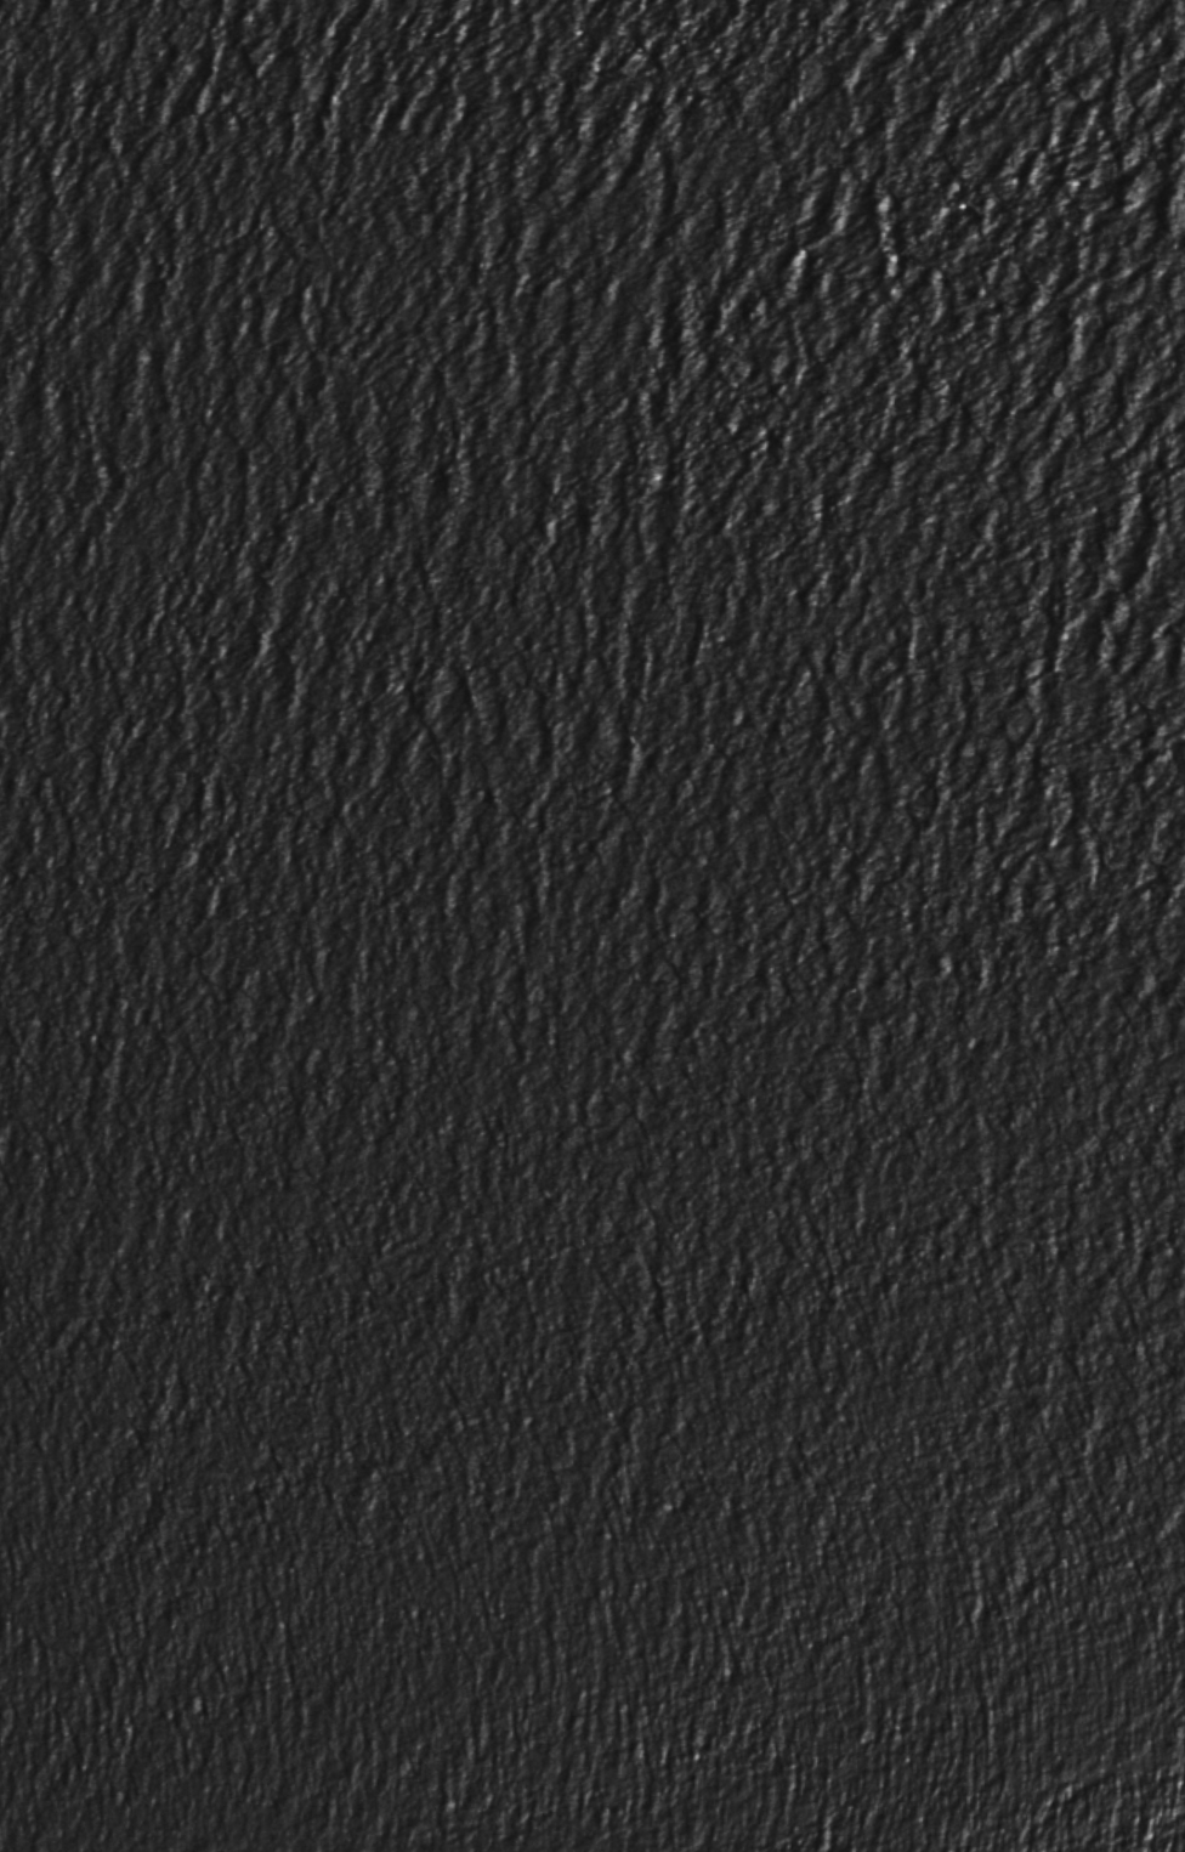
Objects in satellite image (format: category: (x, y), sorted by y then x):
river: (589, 503)

